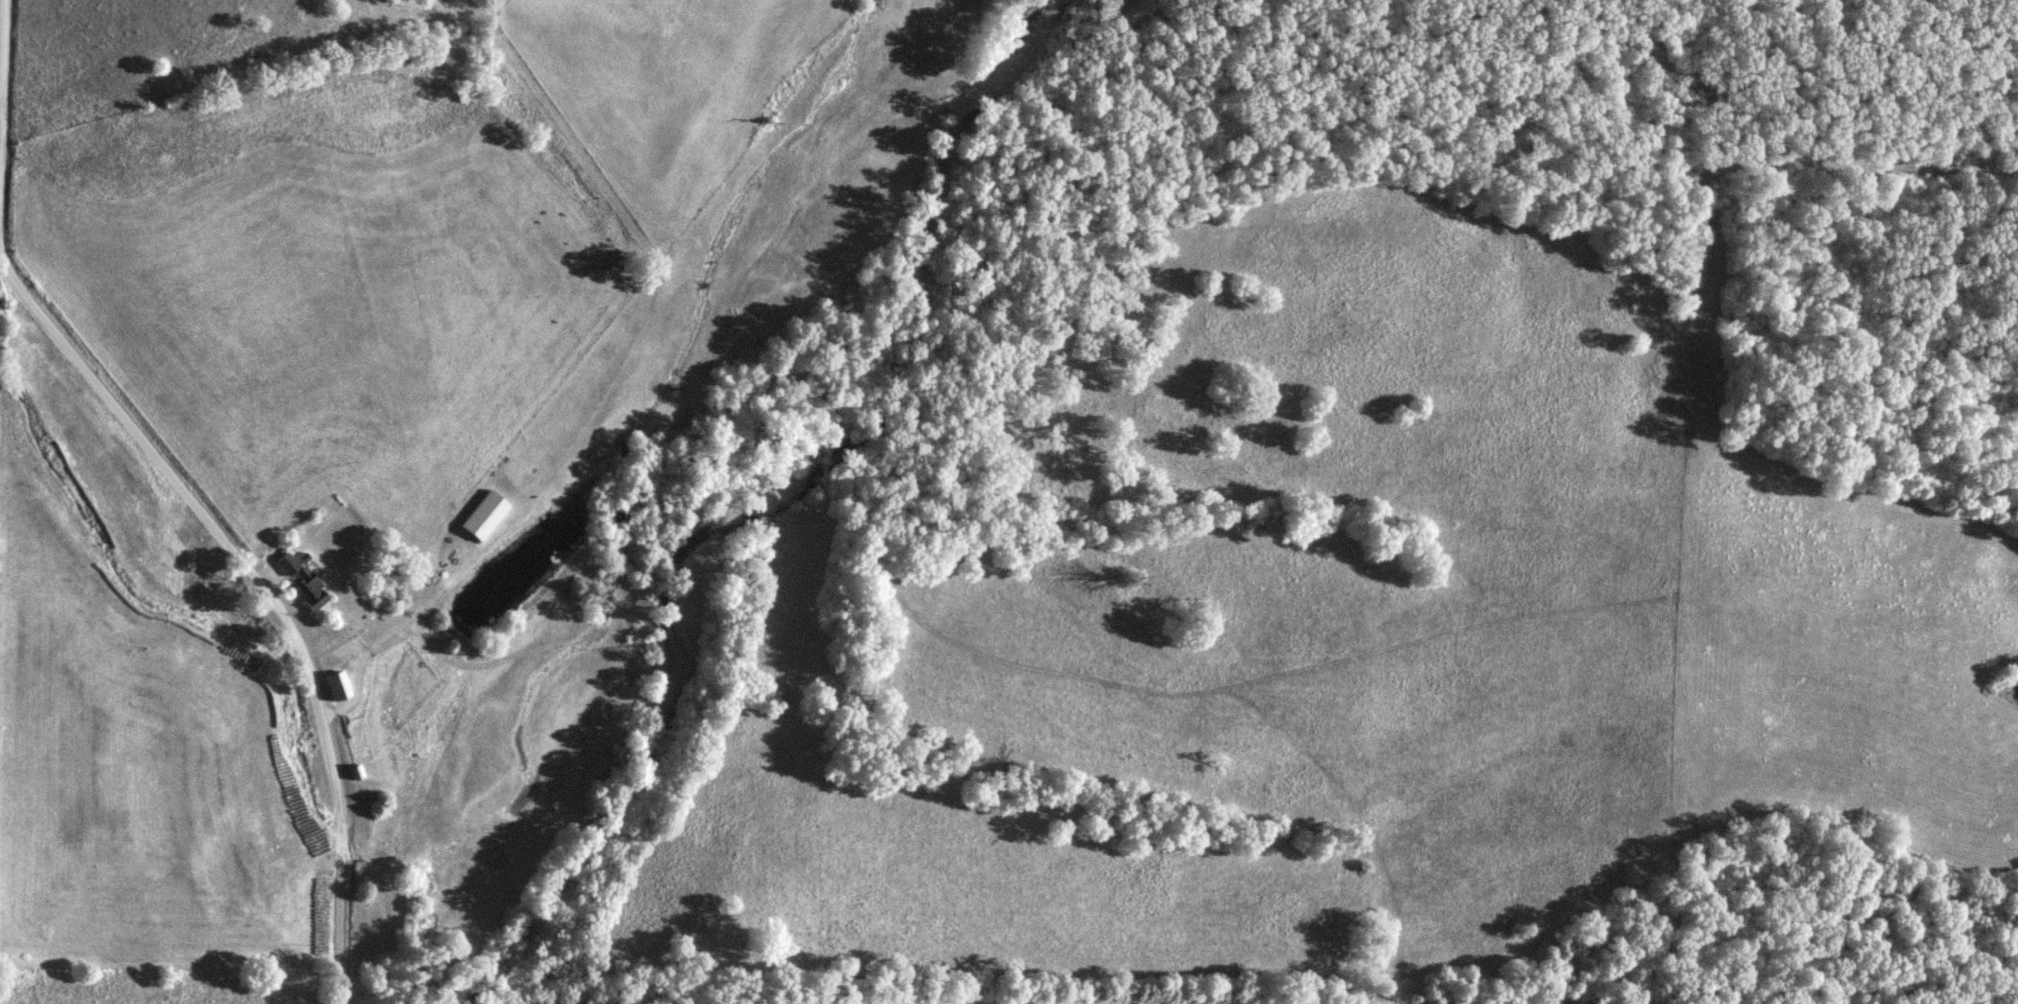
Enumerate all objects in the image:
road: (3, 49)
road: (1, 98)
building: (488, 516)
road: (219, 530)
building: (304, 582)
road: (394, 629)
building: (341, 686)

